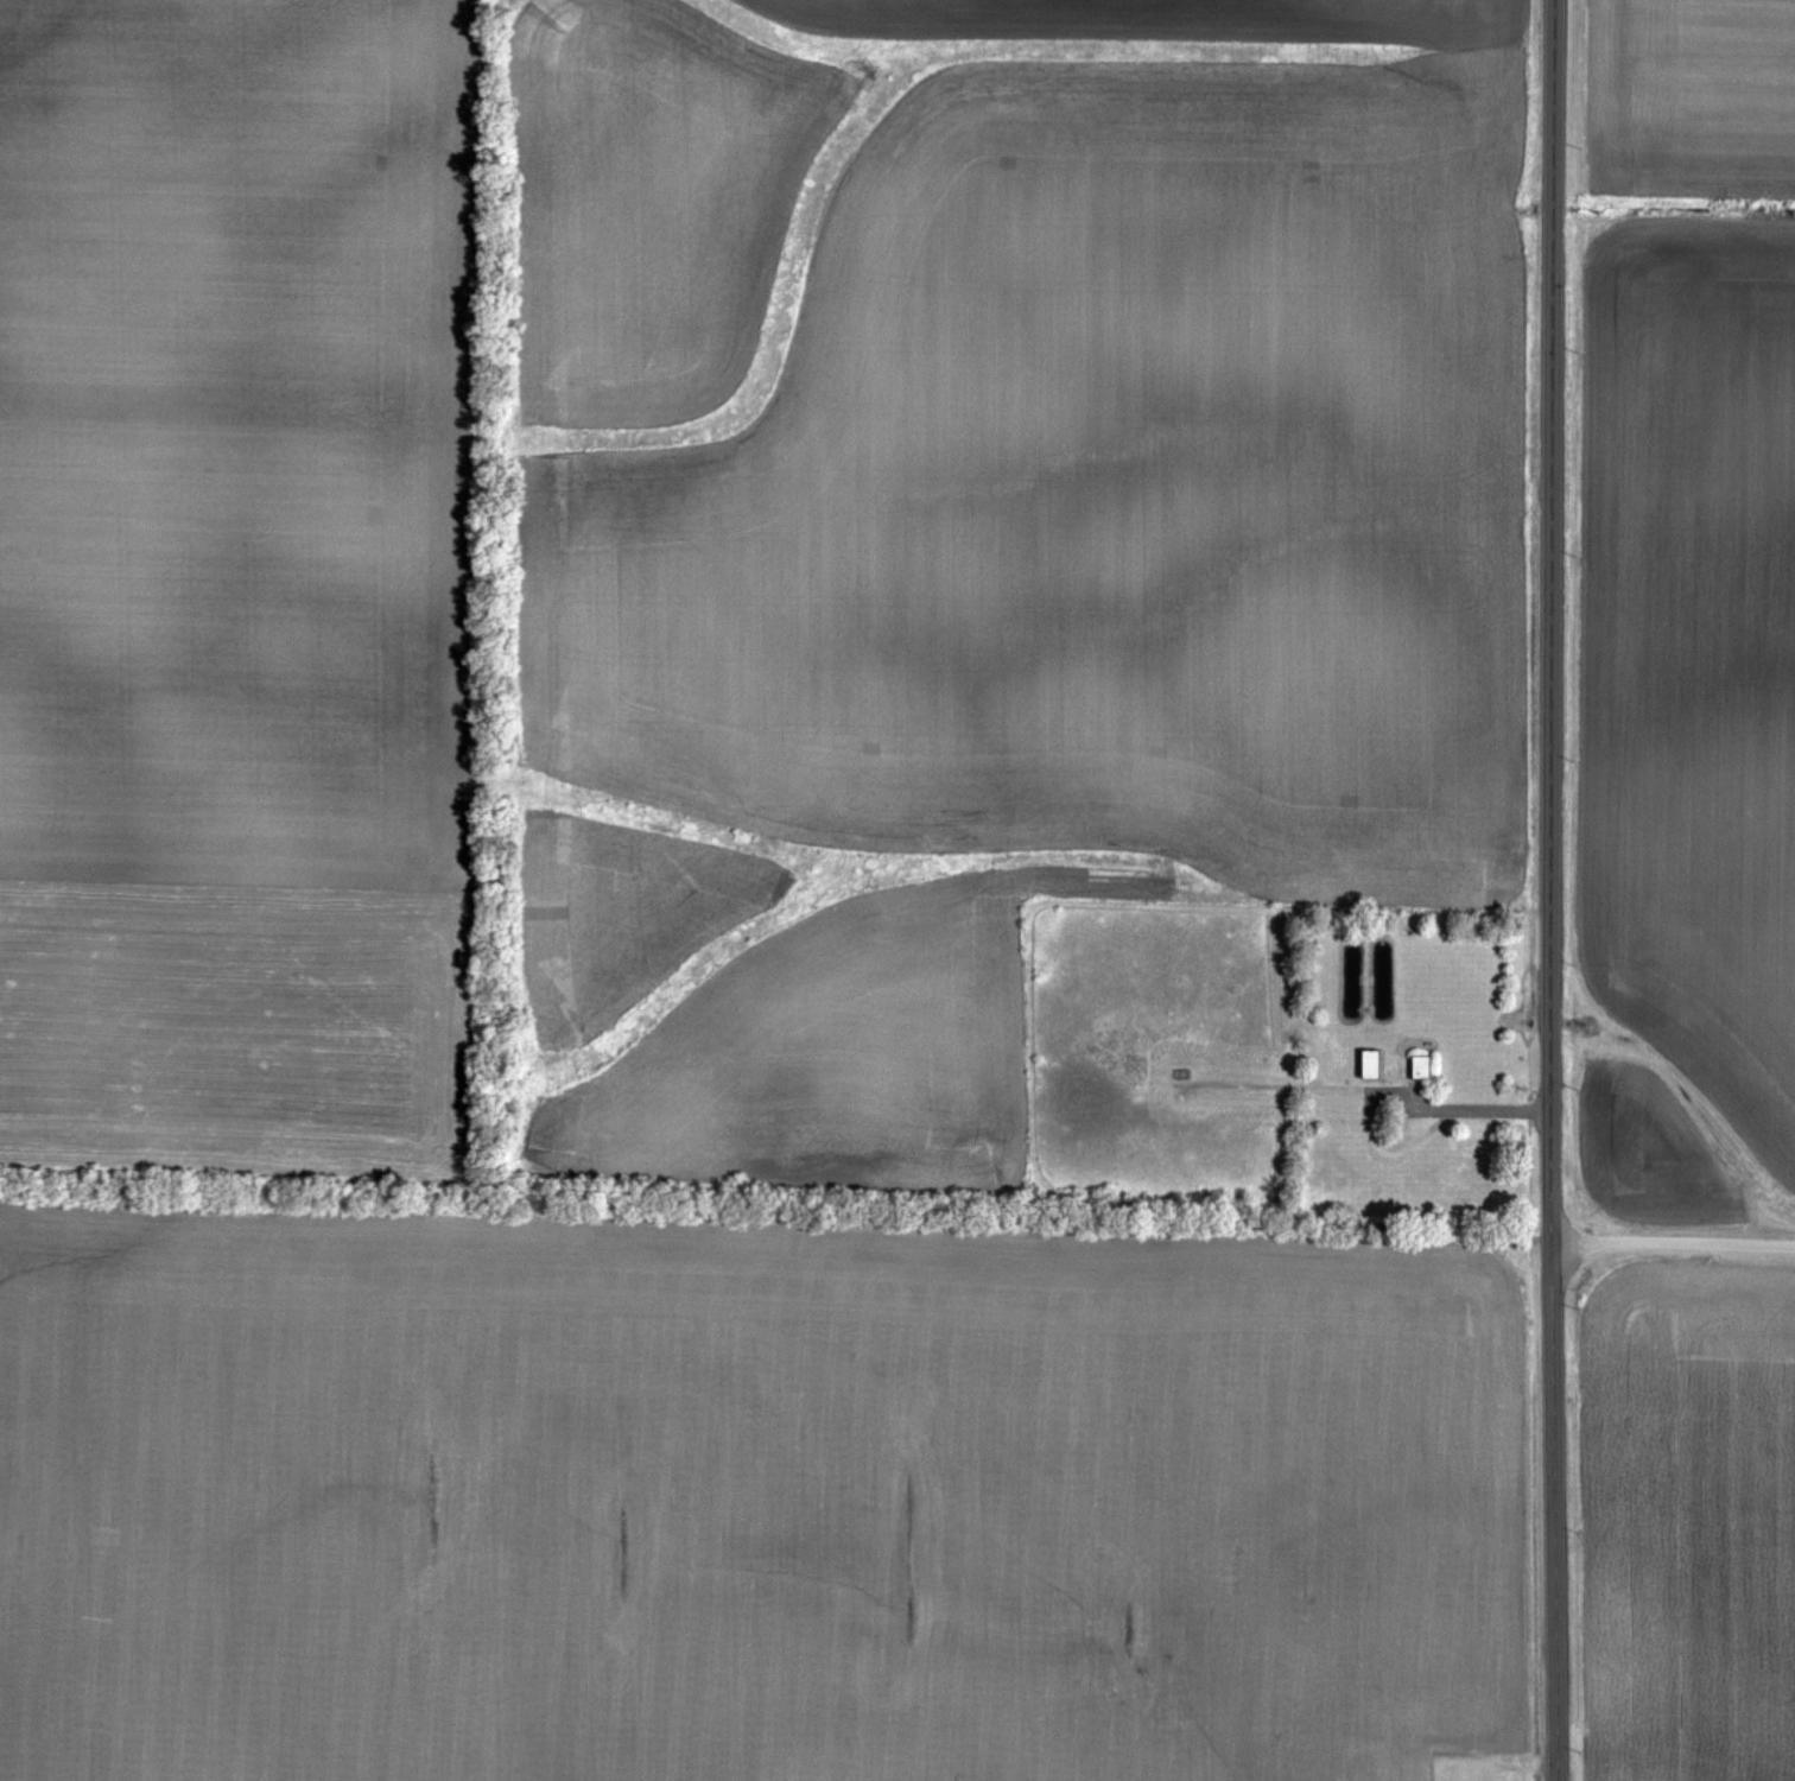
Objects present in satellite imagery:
road: (1554, 620)
road: (1478, 1113)
road: (1673, 1248)
road: (1554, 1510)

